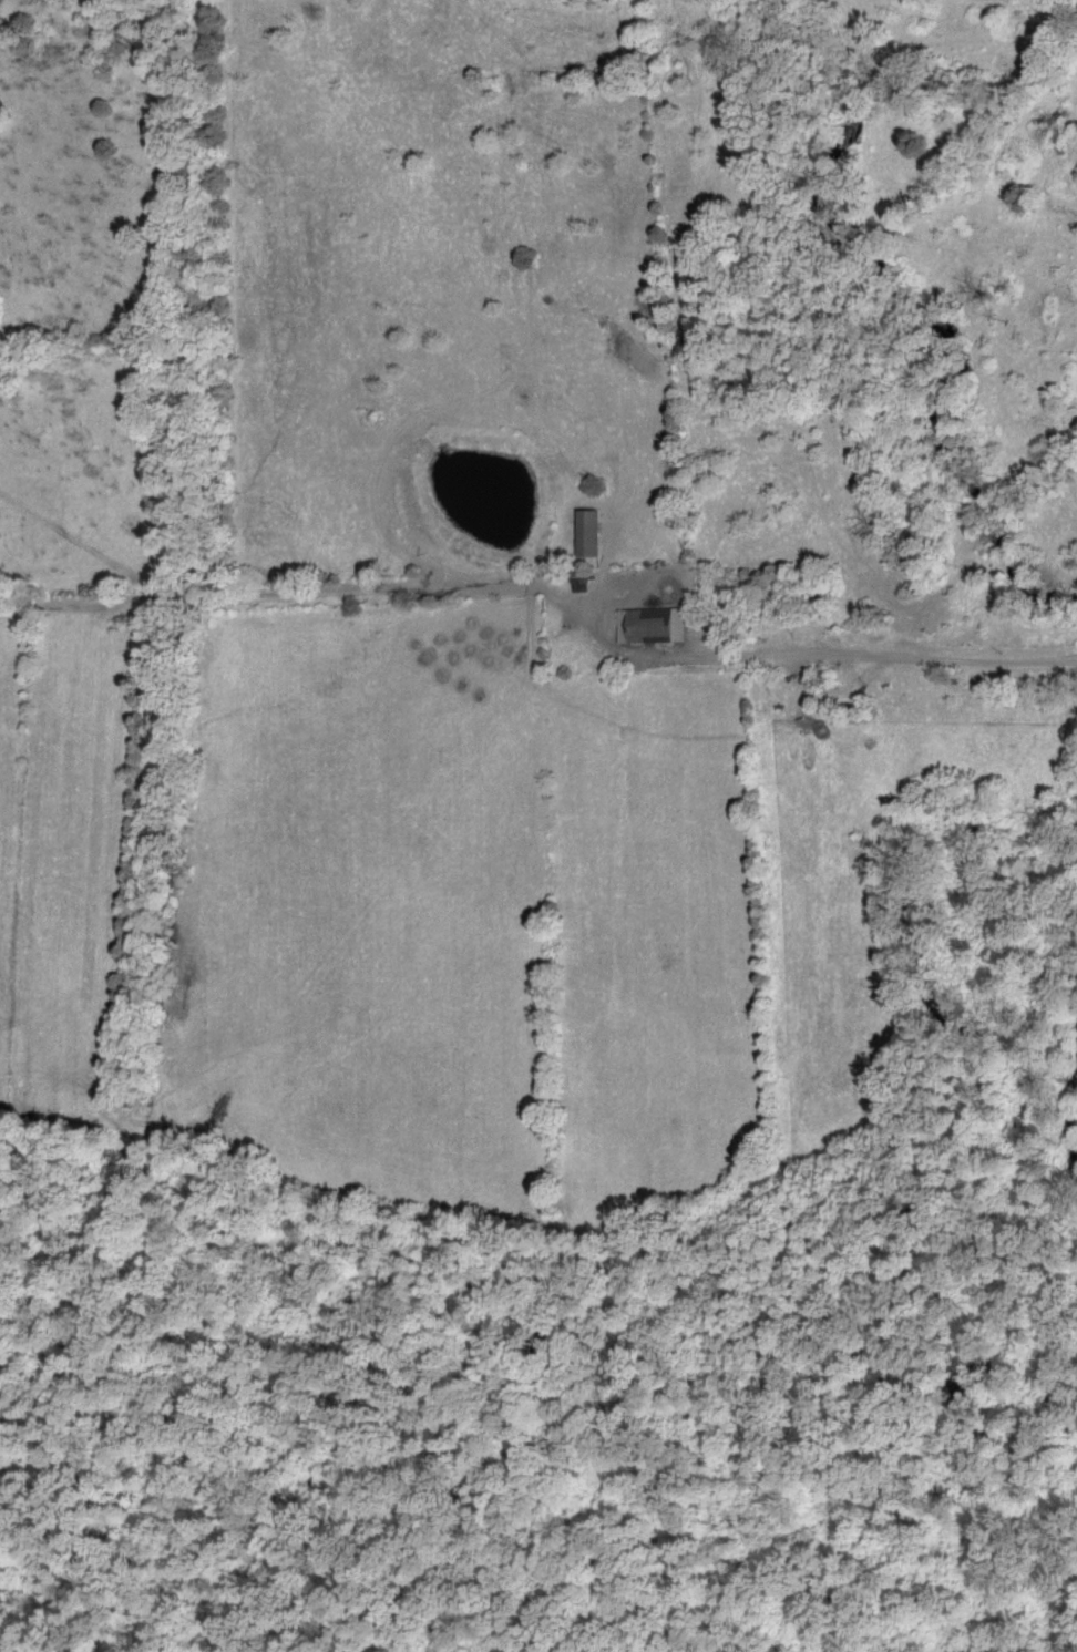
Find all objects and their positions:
building: (650, 625)
road: (904, 666)

